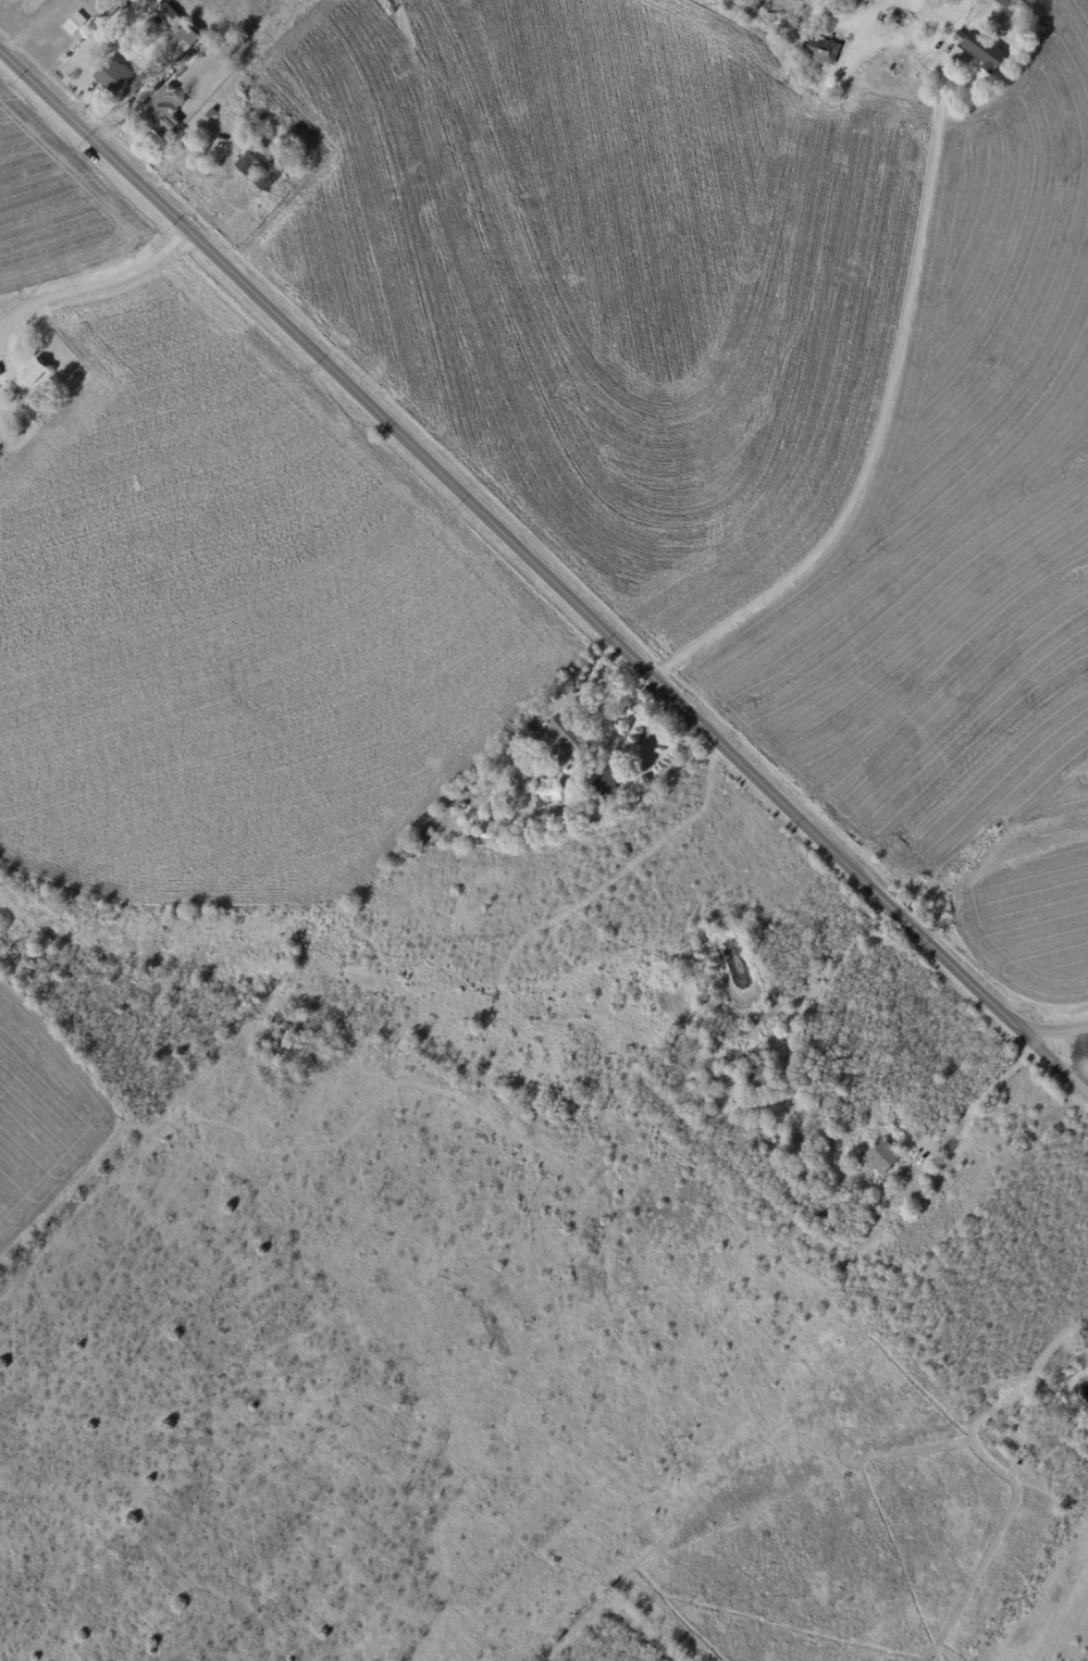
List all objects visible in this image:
building: (88, 1)
building: (918, 3)
building: (1006, 3)
building: (169, 15)
building: (1009, 15)
building: (75, 24)
building: (183, 44)
building: (207, 48)
building: (823, 50)
building: (984, 50)
building: (957, 54)
building: (161, 64)
building: (114, 76)
building: (140, 85)
building: (161, 112)
building: (211, 114)
building: (261, 166)
building: (289, 178)
road: (88, 287)
building: (33, 374)
road: (878, 426)
road: (539, 584)
building: (524, 733)
building: (565, 739)
building: (609, 783)
building: (471, 815)
road: (1052, 1032)
building: (765, 1082)
building: (885, 1157)
building: (806, 1166)
building: (844, 1207)
building: (840, 1229)

